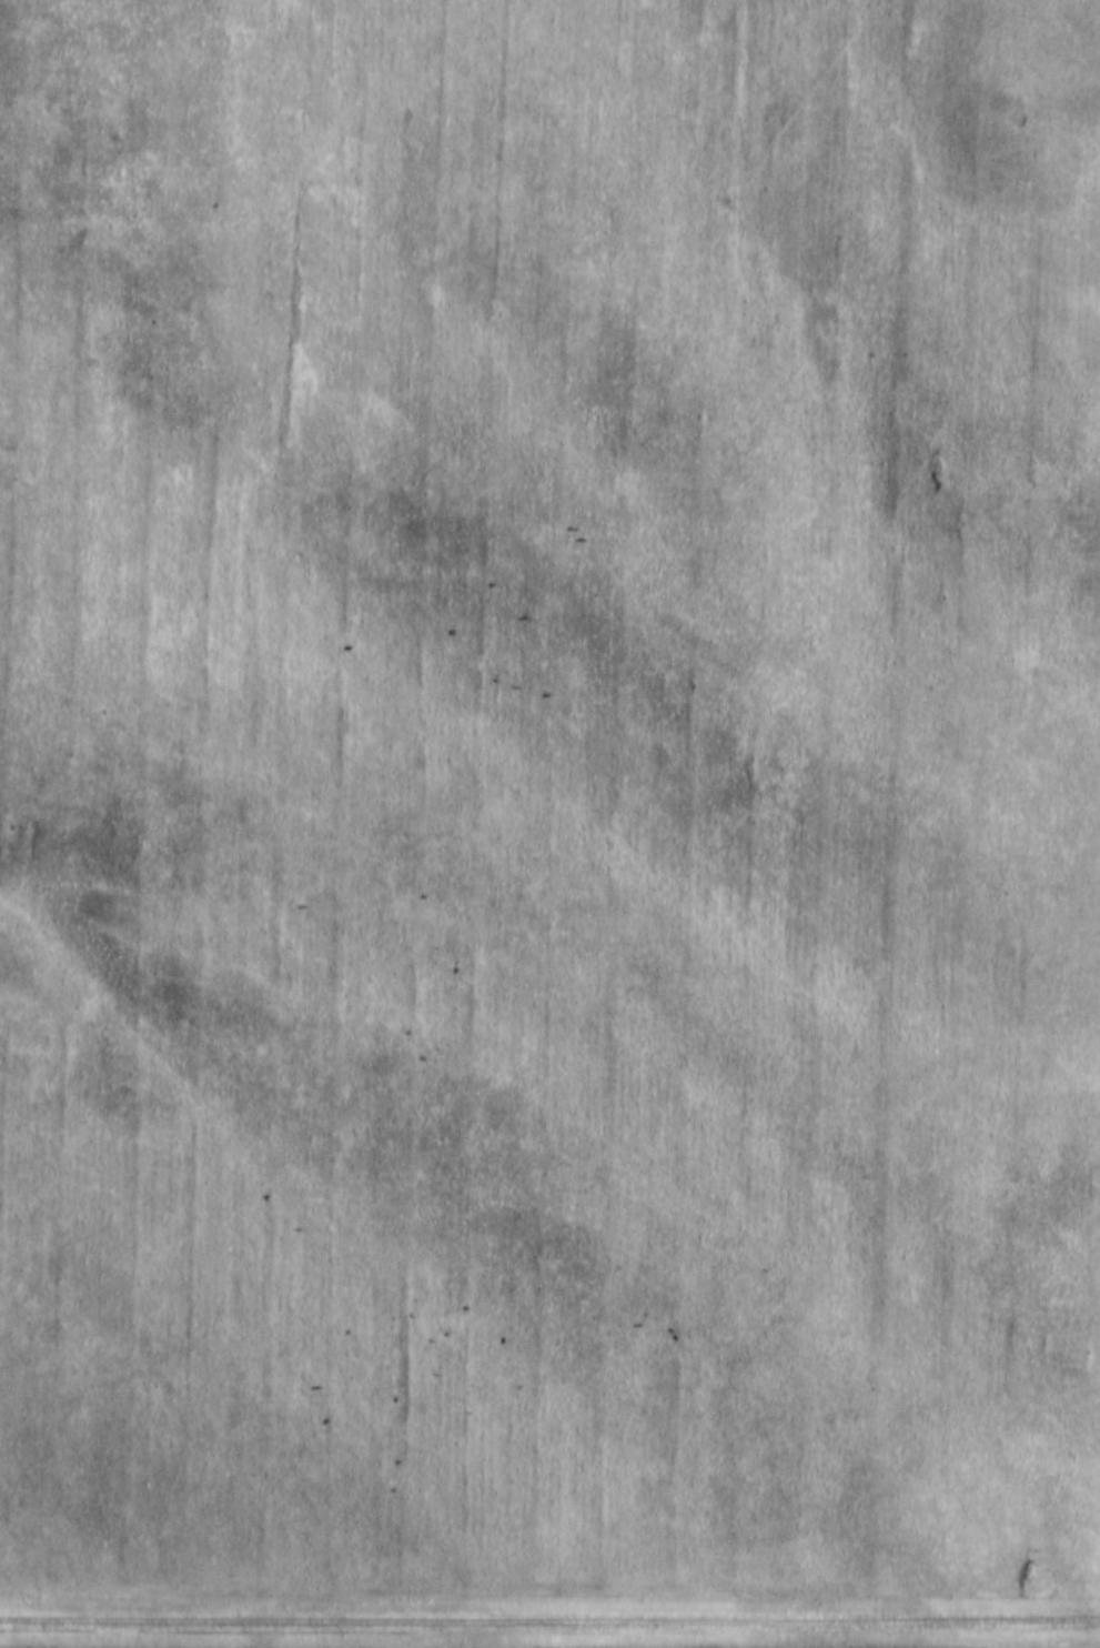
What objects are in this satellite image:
road: (549, 1621)

